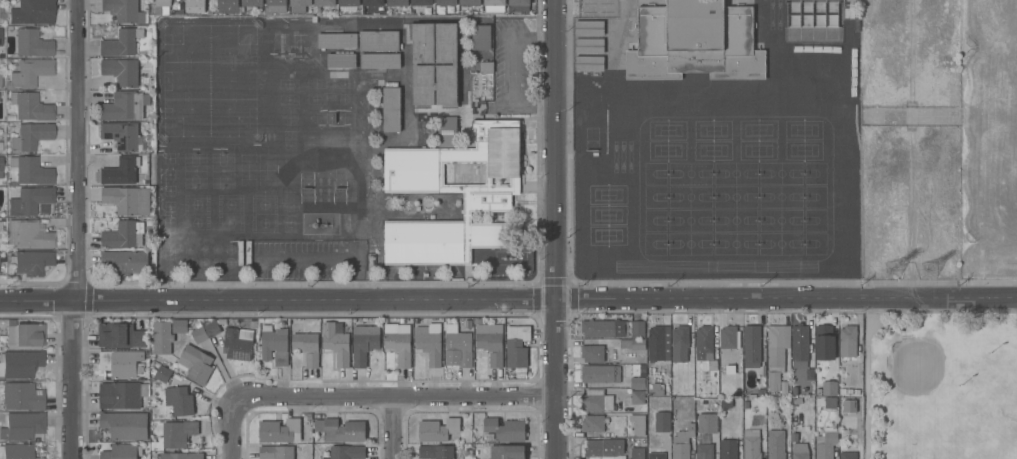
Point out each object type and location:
building: (446, 2)
building: (252, 3)
building: (325, 3)
building: (349, 3)
building: (373, 3)
building: (397, 3)
building: (422, 3)
building: (470, 3)
building: (299, 5)
building: (495, 5)
building: (519, 5)
building: (165, 6)
building: (195, 6)
building: (228, 6)
building: (275, 7)
building: (123, 10)
building: (32, 12)
road: (557, 17)
building: (589, 28)
building: (0, 37)
building: (481, 37)
building: (337, 41)
building: (378, 41)
building: (695, 42)
building: (121, 43)
building: (32, 44)
building: (269, 44)
building: (280, 45)
building: (299, 45)
building: (589, 46)
building: (341, 61)
building: (380, 61)
building: (415, 64)
building: (589, 64)
building: (486, 67)
road: (511, 67)
building: (121, 71)
building: (29, 73)
building: (1, 81)
building: (125, 106)
building: (30, 107)
building: (391, 108)
building: (447, 132)
building: (29, 136)
building: (125, 137)
park: (988, 138)
building: (1, 146)
building: (1, 167)
building: (30, 171)
building: (121, 171)
building: (451, 188)
building: (30, 200)
building: (127, 200)
building: (1, 226)
road: (74, 229)
building: (28, 235)
building: (123, 235)
road: (557, 246)
building: (31, 262)
building: (125, 262)
power tower: (900, 272)
power tower: (937, 272)
road: (508, 300)
building: (179, 326)
building: (212, 328)
building: (598, 329)
building: (637, 329)
building: (199, 335)
building: (24, 336)
building: (120, 336)
building: (162, 338)
building: (731, 338)
building: (704, 340)
building: (336, 343)
building: (364, 343)
building: (398, 343)
building: (429, 343)
building: (238, 344)
building: (659, 344)
building: (274, 345)
building: (624, 345)
building: (638, 345)
building: (847, 345)
building: (517, 346)
building: (752, 346)
building: (802, 346)
building: (491, 347)
building: (681, 347)
building: (307, 348)
building: (457, 348)
building: (826, 348)
building: (592, 354)
building: (776, 354)
building: (19, 364)
building: (121, 364)
building: (195, 364)
building: (712, 365)
building: (162, 374)
building: (600, 374)
building: (638, 383)
park: (941, 387)
building: (655, 389)
building: (783, 389)
building: (829, 389)
building: (761, 393)
building: (819, 393)
building: (121, 395)
building: (20, 397)
building: (636, 397)
building: (179, 400)
road: (398, 400)
building: (596, 401)
building: (798, 402)
building: (825, 402)
building: (726, 405)
building: (745, 405)
building: (309, 417)
building: (662, 422)
building: (592, 423)
building: (707, 423)
building: (637, 424)
building: (22, 426)
building: (125, 426)
road: (395, 429)
building: (340, 430)
building: (437, 430)
building: (505, 430)
building: (279, 431)
road: (234, 433)
building: (174, 435)
building: (794, 438)
building: (682, 443)
building: (827, 443)
building: (751, 445)
building: (776, 445)
building: (602, 447)
building: (728, 449)
building: (16, 451)
building: (627, 451)
building: (800, 451)
building: (122, 452)
building: (275, 452)
building: (347, 452)
building: (435, 452)
building: (507, 452)
building: (706, 452)
building: (637, 453)
building: (848, 455)
building: (181, 456)
building: (656, 456)
building: (321, 458)

